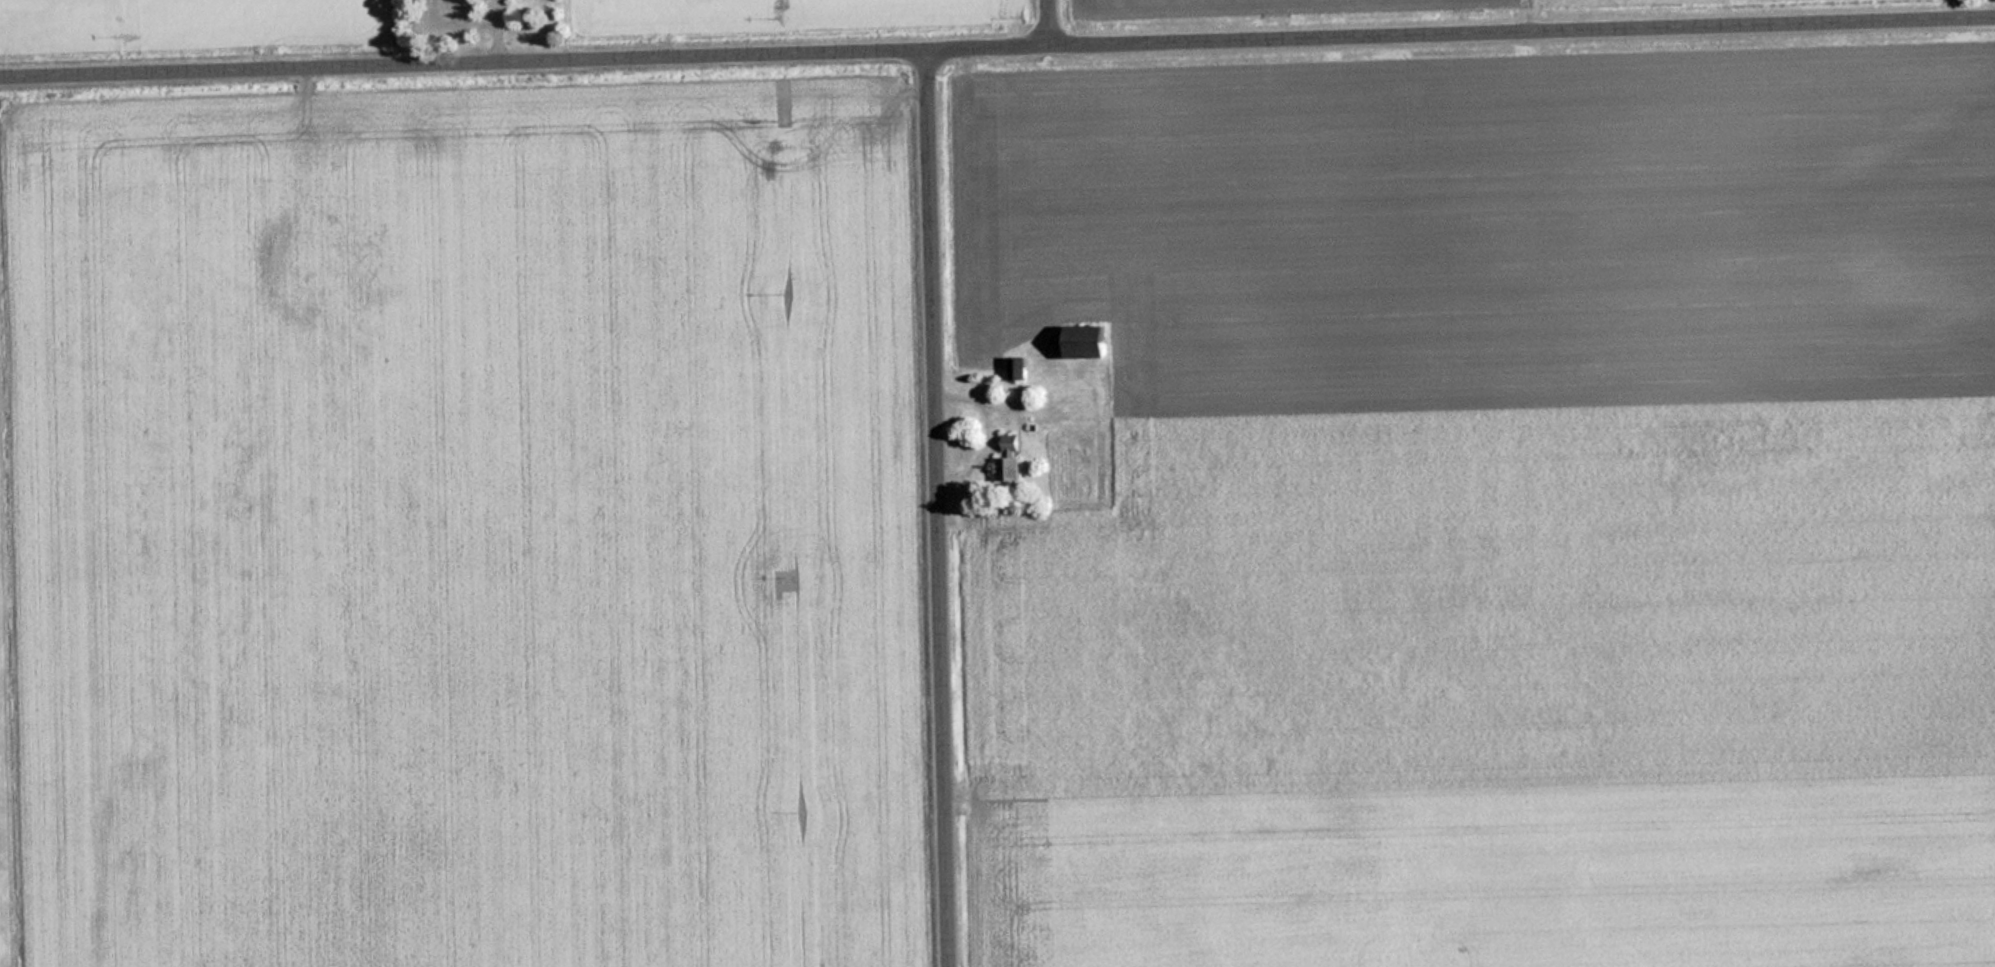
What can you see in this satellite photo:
building: (541, 1)
building: (449, 10)
road: (1046, 22)
road: (997, 46)
building: (1087, 340)
building: (1018, 367)
building: (1009, 463)
road: (935, 508)

